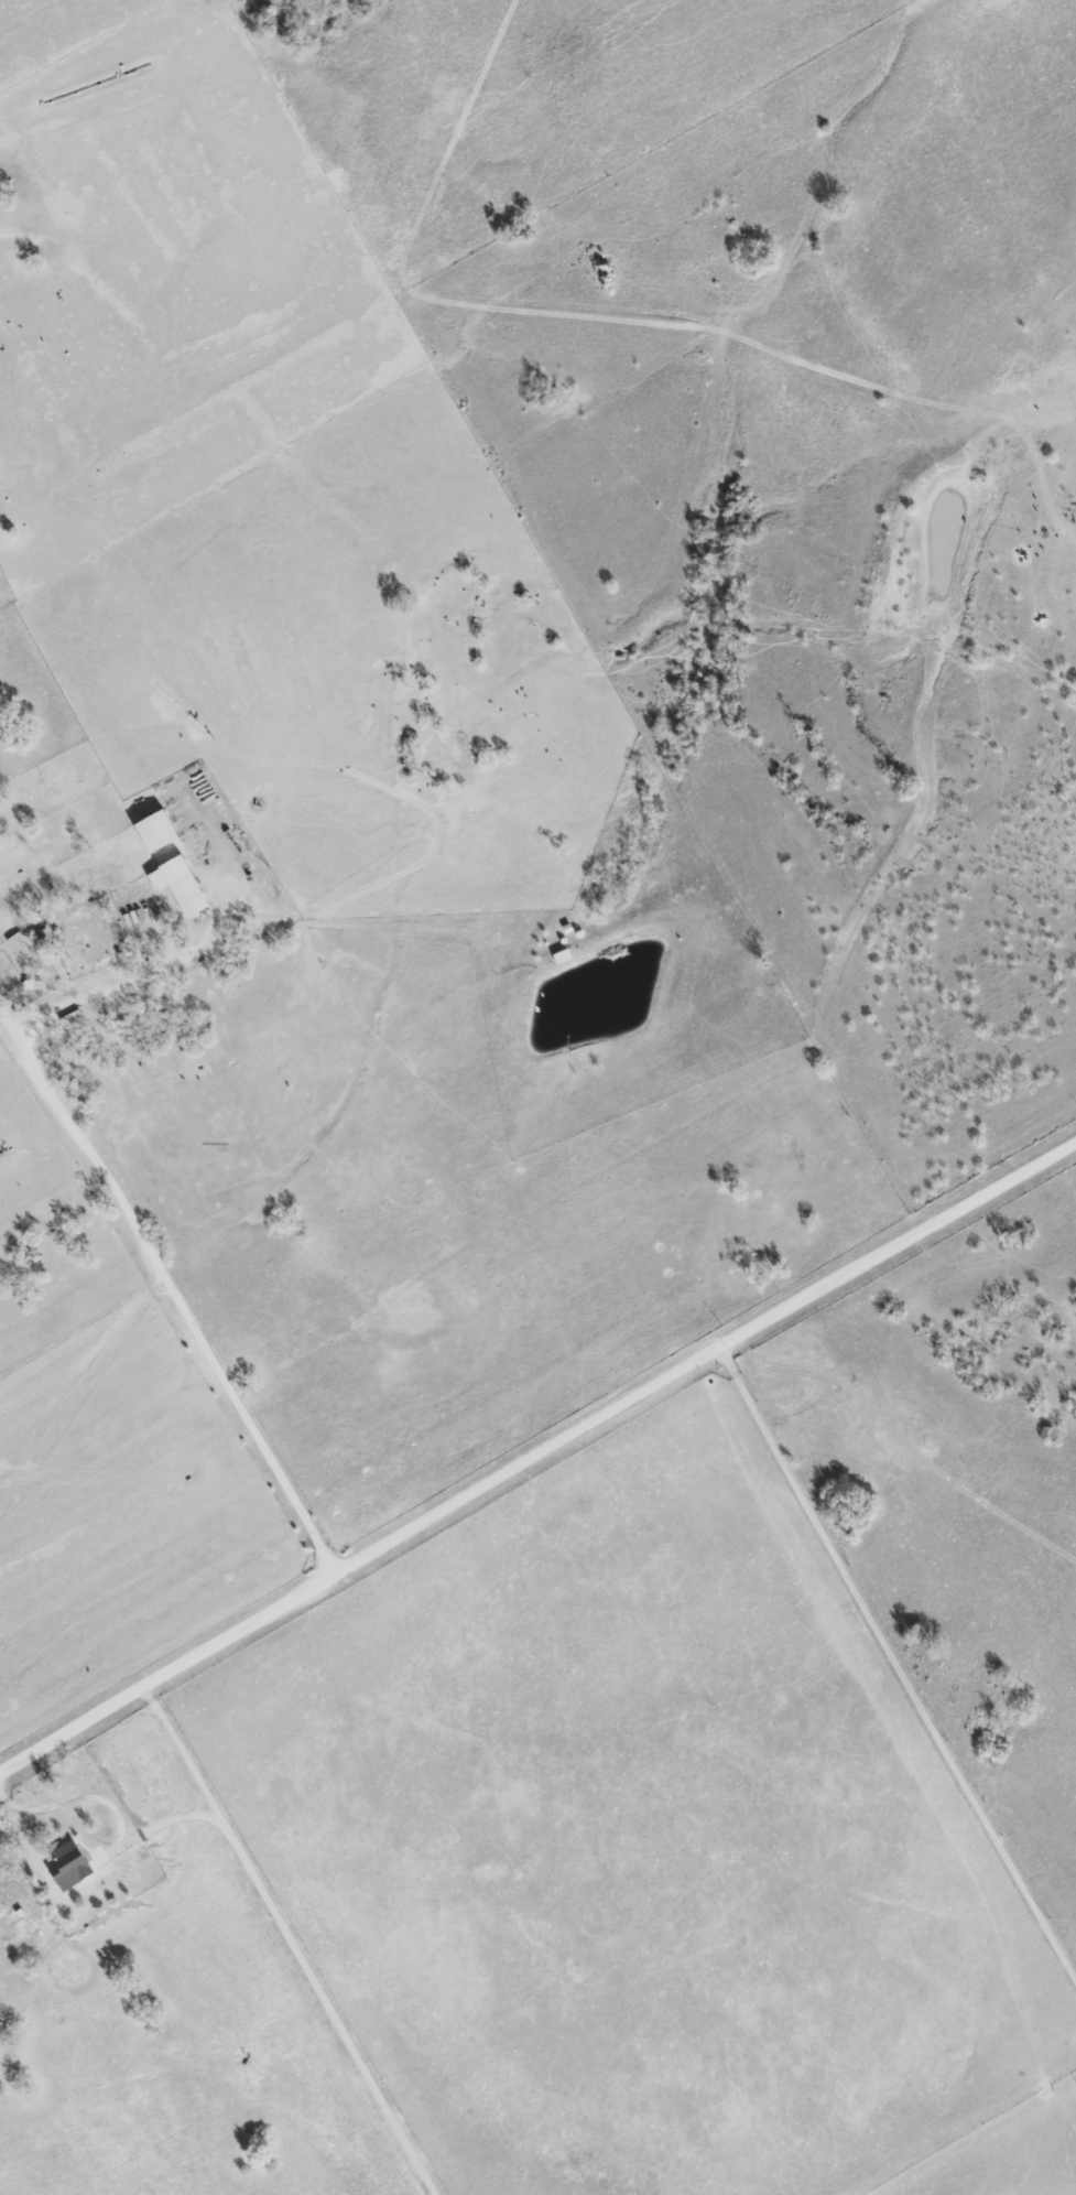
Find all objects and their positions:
building: (152, 832)
building: (176, 886)
building: (19, 945)
road: (123, 982)
building: (31, 985)
road: (165, 1287)
road: (535, 1452)
road: (895, 1670)
road: (161, 1824)
building: (65, 1867)

